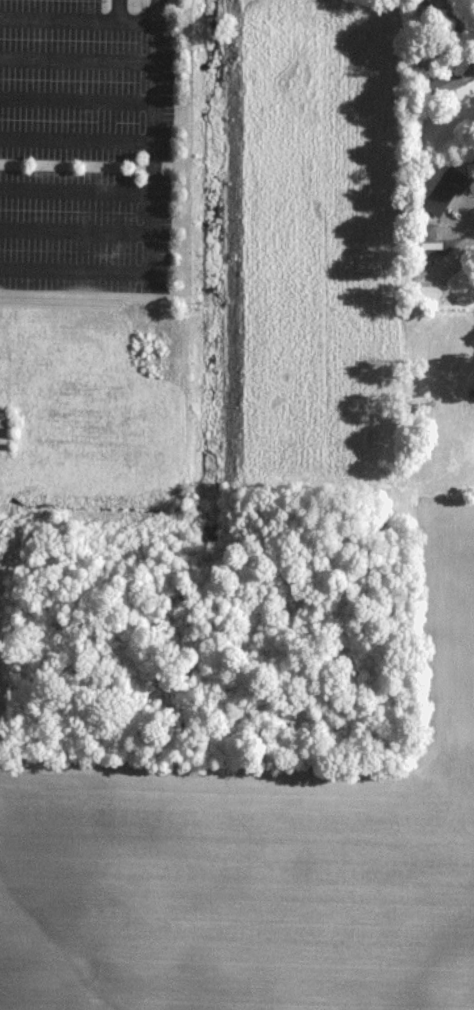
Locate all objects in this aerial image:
road: (59, 16)
road: (130, 19)
road: (79, 59)
road: (78, 98)
road: (77, 140)
road: (76, 190)
road: (152, 207)
road: (466, 219)
road: (75, 230)
building: (426, 235)

